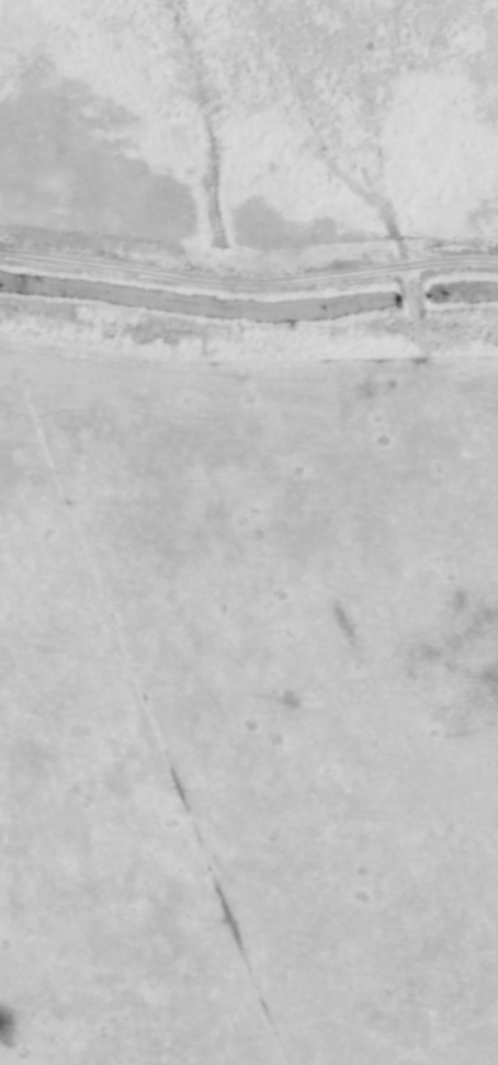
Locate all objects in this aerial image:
road: (249, 433)

